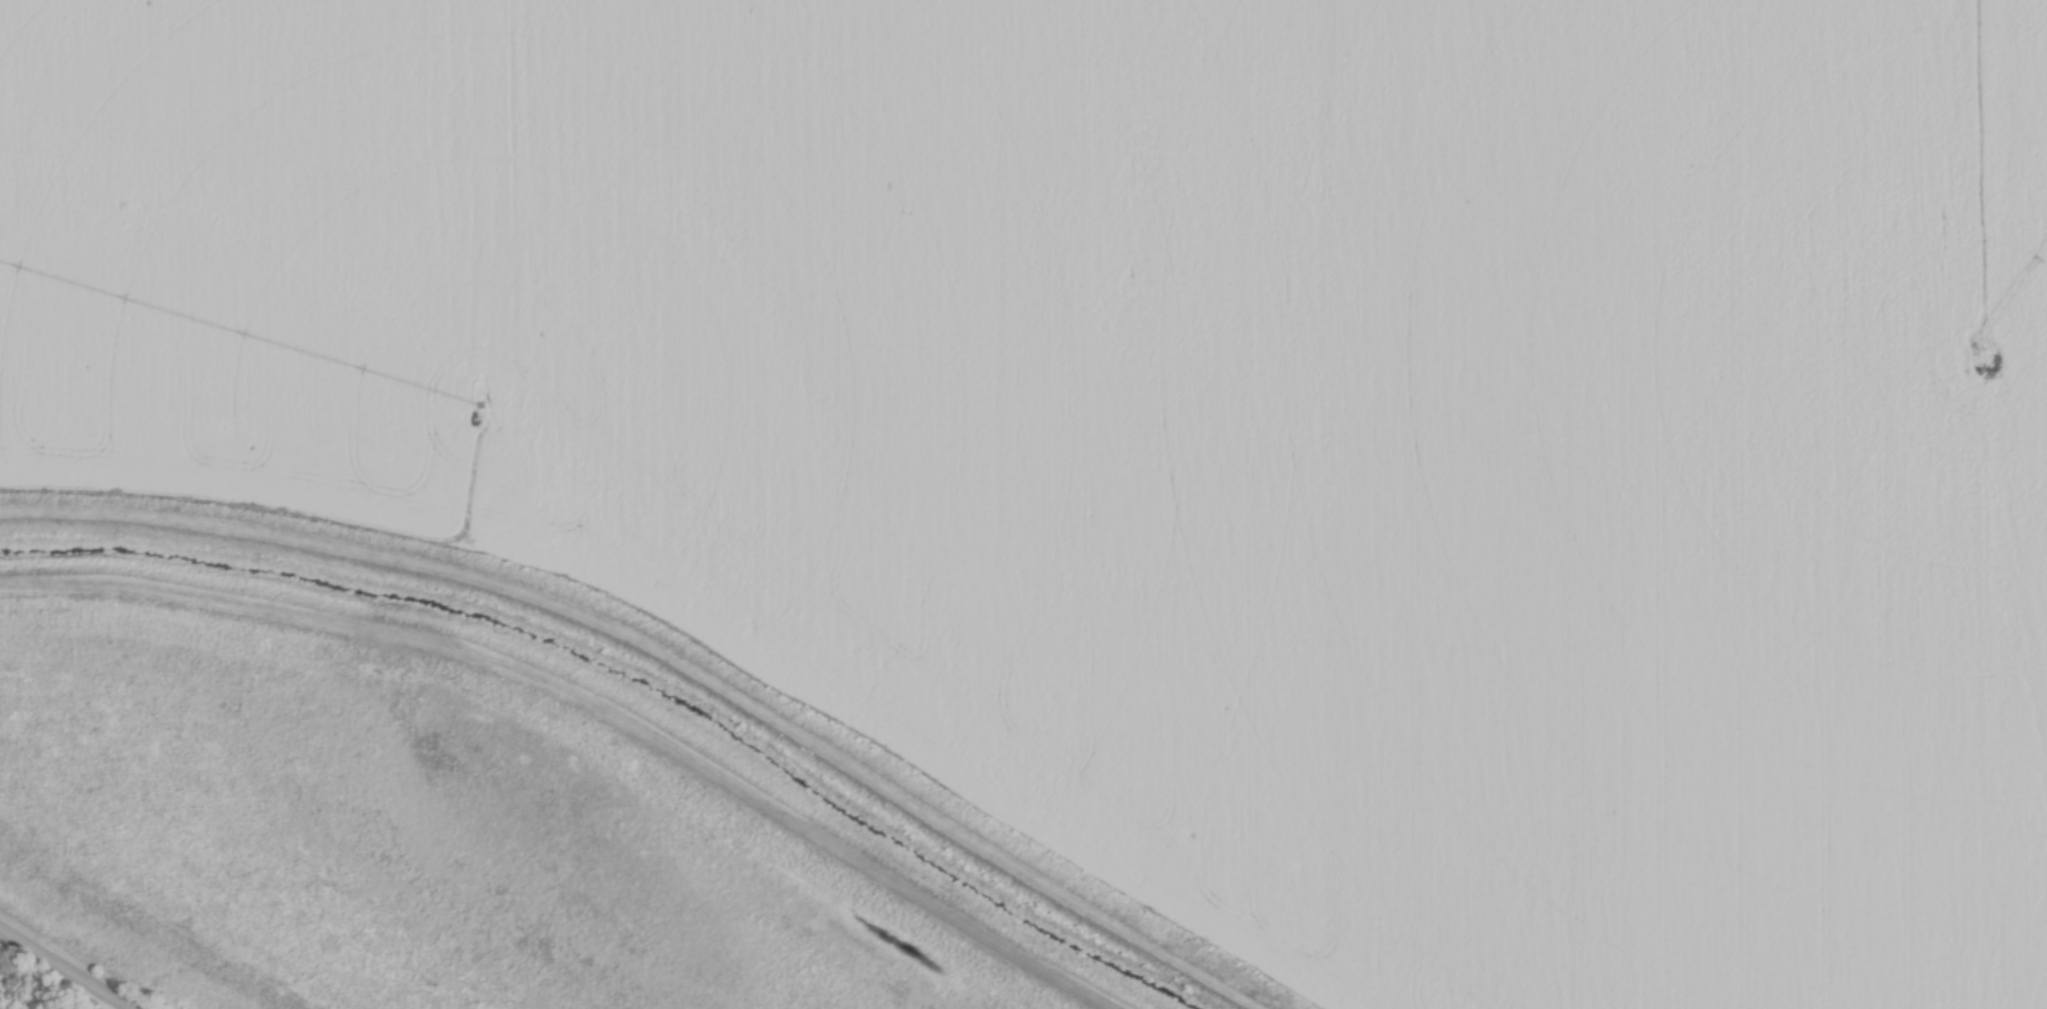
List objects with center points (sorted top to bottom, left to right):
road: (60, 972)

